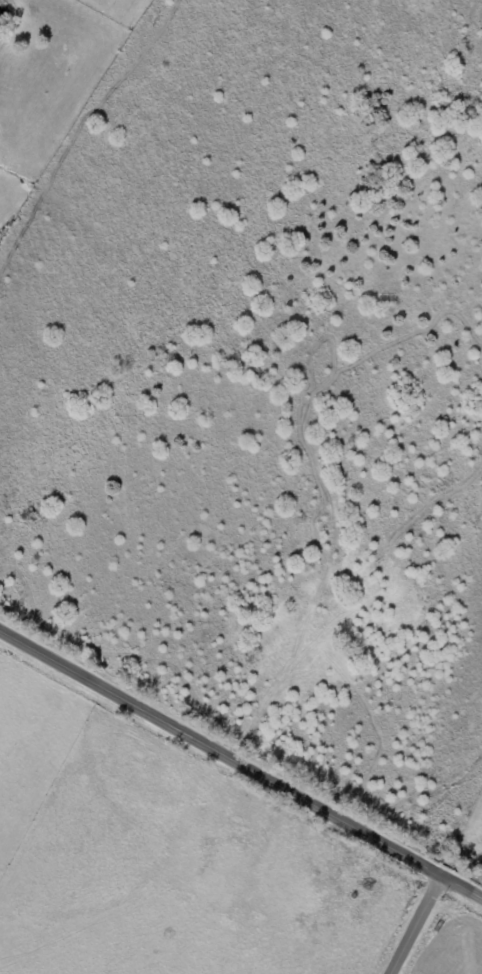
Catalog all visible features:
building: (349, 652)
road: (241, 759)
road: (415, 922)

